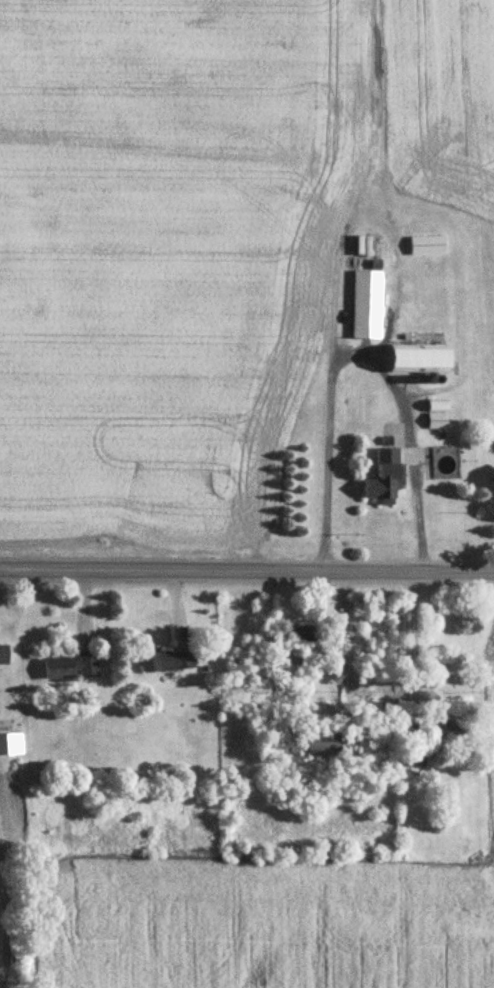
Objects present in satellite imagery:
building: (426, 247)
building: (366, 306)
road: (359, 356)
building: (419, 361)
building: (436, 416)
building: (385, 479)
road: (247, 577)
building: (299, 635)
road: (414, 648)
building: (3, 656)
building: (166, 663)
building: (71, 668)
building: (448, 737)
building: (10, 746)
building: (327, 746)
building: (415, 758)

